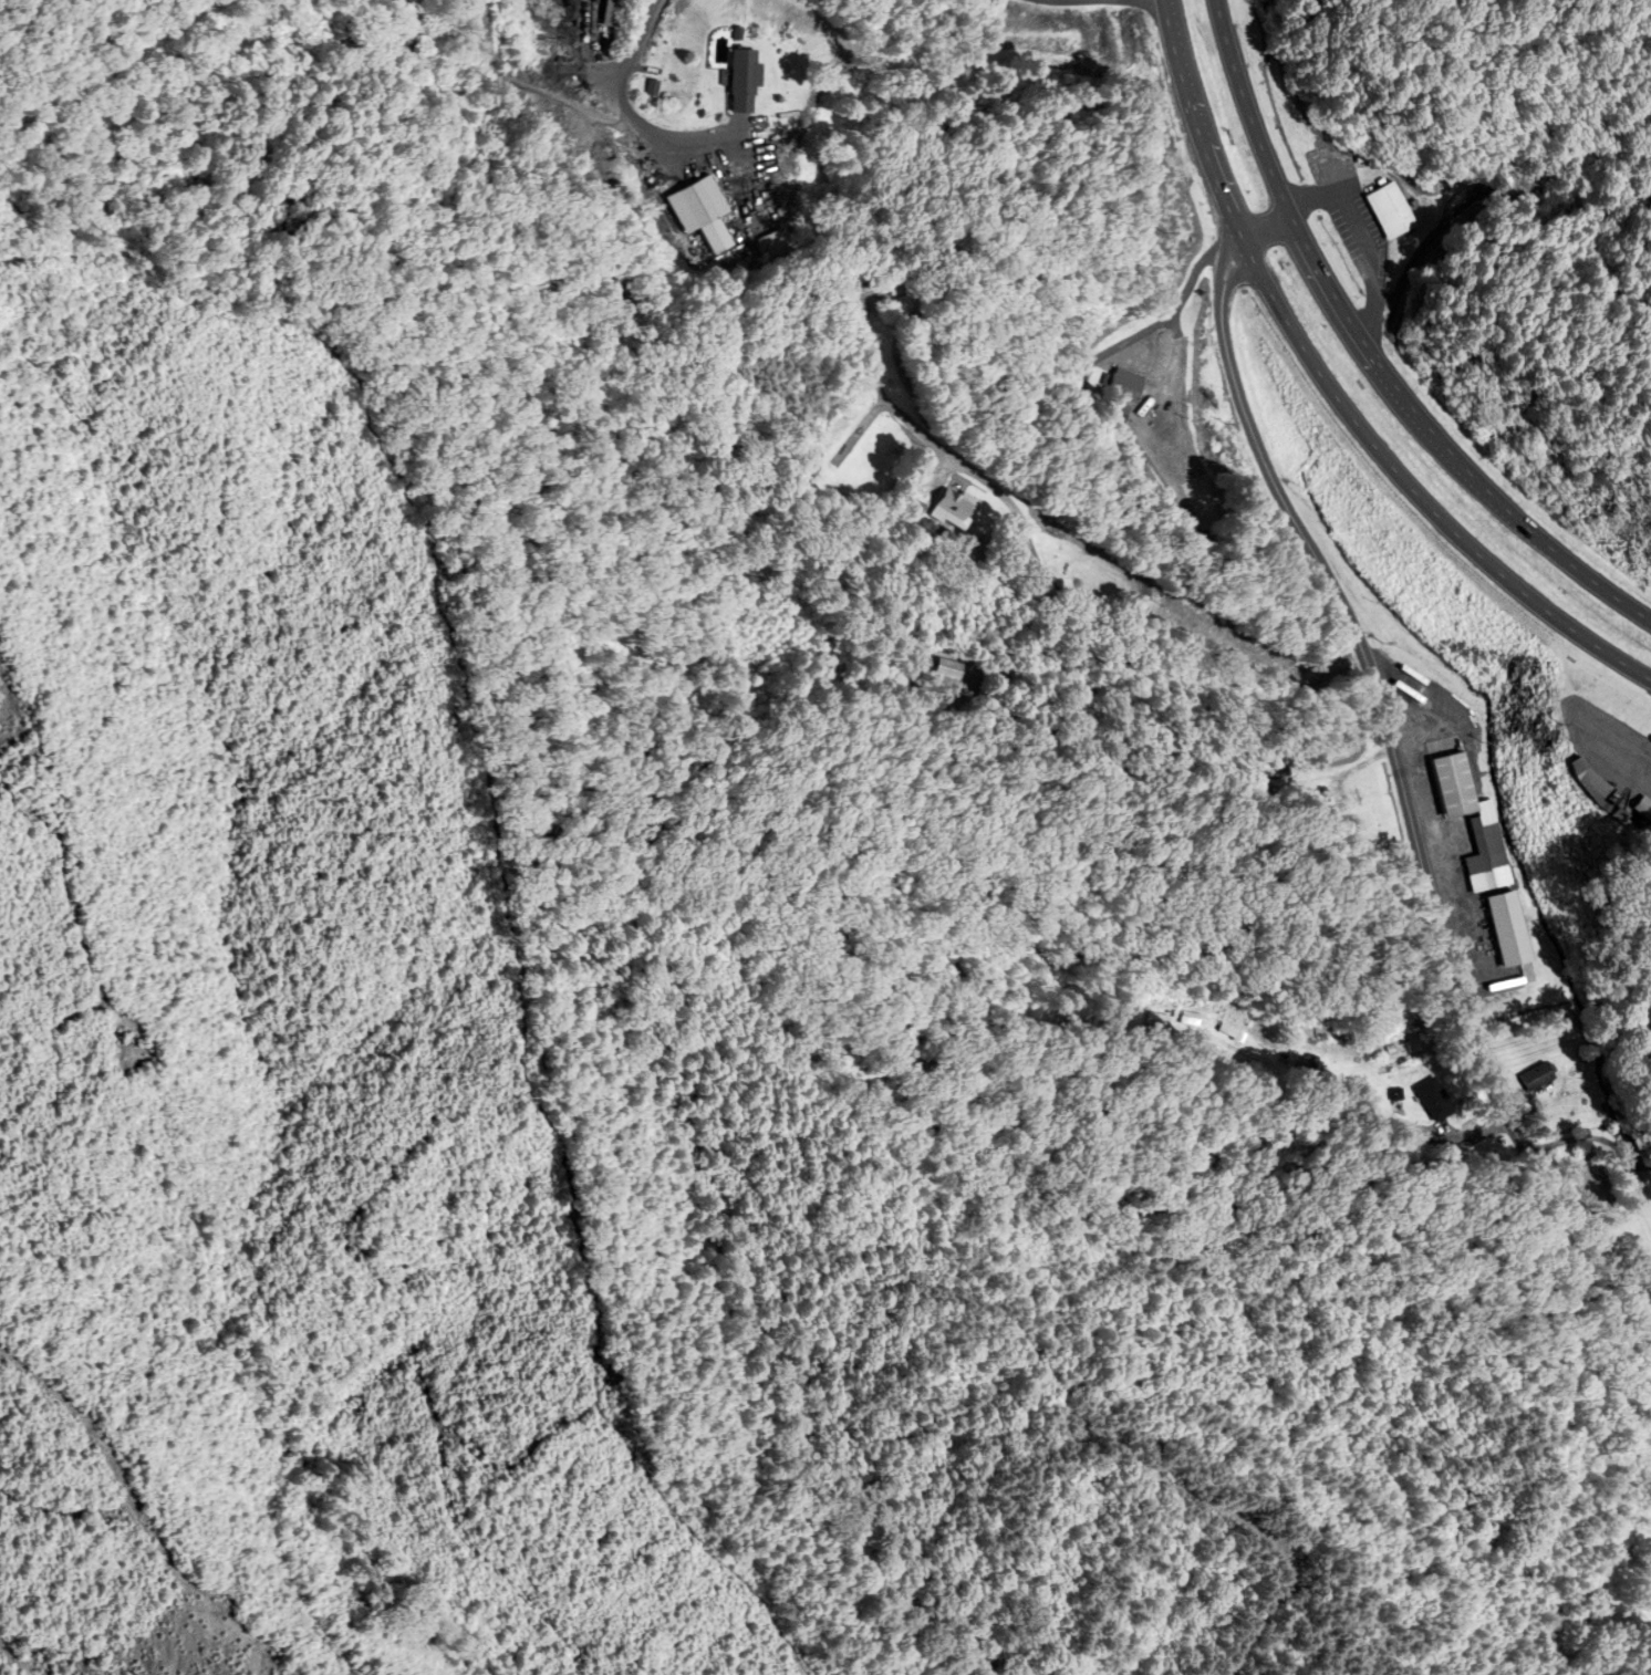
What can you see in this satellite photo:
road: (1097, 3)
building: (758, 81)
road: (634, 100)
building: (712, 206)
building: (1346, 208)
road: (1364, 241)
building: (880, 288)
road: (1371, 353)
building: (1097, 386)
road: (1333, 392)
building: (964, 510)
road: (1123, 532)
building: (928, 669)
building: (1608, 782)
road: (1402, 784)
building: (1505, 784)
building: (1311, 811)
building: (1420, 814)
building: (1539, 862)
building: (1152, 1016)
building: (1121, 1017)
building: (1191, 1029)
building: (1595, 1074)
building: (1485, 1097)

